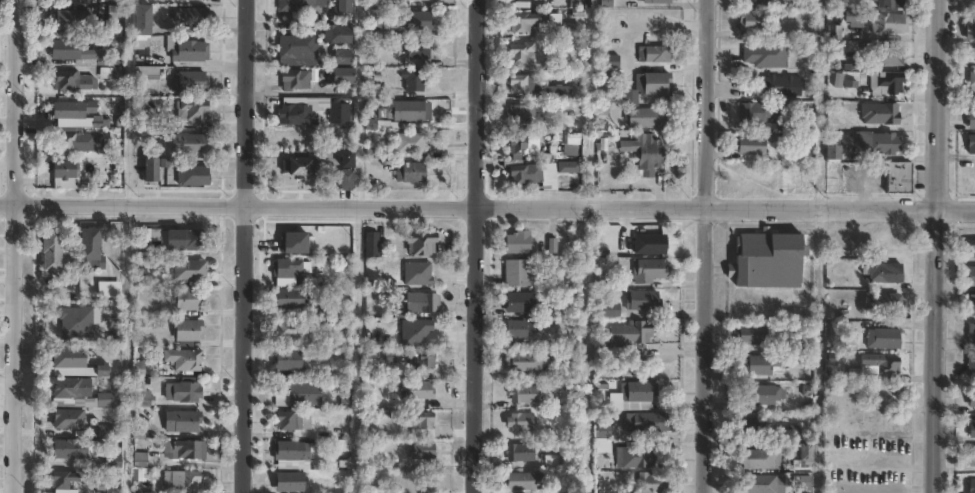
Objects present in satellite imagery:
building: (198, 0)
building: (419, 0)
building: (81, 1)
building: (522, 1)
building: (658, 1)
building: (756, 2)
building: (890, 3)
building: (299, 4)
building: (345, 7)
building: (855, 17)
building: (115, 18)
building: (194, 18)
building: (141, 20)
building: (69, 21)
building: (418, 21)
building: (755, 21)
building: (523, 22)
building: (889, 24)
building: (571, 30)
building: (382, 31)
building: (970, 31)
building: (836, 32)
building: (336, 34)
building: (114, 44)
building: (418, 50)
building: (189, 51)
building: (297, 51)
building: (523, 53)
building: (76, 54)
building: (654, 54)
building: (767, 54)
building: (890, 56)
building: (342, 57)
building: (613, 61)
building: (145, 72)
building: (110, 73)
building: (343, 77)
building: (294, 79)
building: (972, 79)
building: (415, 80)
building: (73, 81)
building: (189, 82)
building: (524, 84)
building: (883, 85)
building: (783, 86)
building: (606, 90)
building: (557, 92)
road: (128, 100)
building: (631, 104)
road: (821, 104)
building: (73, 110)
building: (192, 111)
building: (405, 111)
building: (757, 113)
building: (295, 114)
building: (519, 114)
building: (881, 114)
building: (972, 120)
building: (834, 122)
building: (67, 142)
building: (568, 142)
building: (410, 143)
building: (879, 143)
building: (189, 144)
building: (971, 144)
building: (524, 146)
building: (751, 146)
building: (645, 153)
building: (834, 154)
building: (346, 159)
building: (300, 167)
building: (569, 167)
building: (150, 171)
building: (410, 173)
building: (526, 174)
building: (65, 175)
building: (192, 176)
building: (794, 178)
building: (899, 178)
building: (345, 180)
road: (487, 205)
building: (831, 237)
building: (182, 241)
building: (518, 241)
building: (420, 242)
building: (371, 243)
building: (551, 243)
building: (885, 243)
road: (12, 246)
road: (246, 246)
road: (479, 246)
road: (703, 246)
road: (936, 246)
building: (89, 248)
building: (971, 248)
building: (51, 250)
building: (768, 259)
building: (287, 266)
building: (649, 269)
building: (189, 271)
building: (517, 271)
building: (417, 272)
building: (884, 272)
building: (971, 277)
building: (69, 291)
building: (290, 297)
building: (187, 299)
building: (643, 300)
building: (884, 301)
building: (522, 302)
building: (416, 303)
building: (971, 306)
building: (609, 309)
building: (75, 321)
building: (287, 328)
building: (516, 328)
building: (186, 330)
building: (418, 333)
building: (971, 333)
building: (752, 338)
building: (884, 338)
building: (629, 339)
road: (356, 348)
road: (588, 350)
road: (818, 350)
building: (183, 359)
building: (288, 359)
building: (424, 361)
building: (523, 361)
building: (73, 362)
building: (773, 362)
building: (971, 364)
building: (889, 365)
building: (70, 387)
building: (419, 390)
building: (182, 391)
building: (524, 393)
building: (300, 394)
building: (638, 394)
building: (760, 396)
building: (971, 397)
building: (143, 398)
building: (104, 399)
building: (381, 414)
building: (67, 418)
building: (182, 420)
building: (288, 420)
building: (520, 420)
building: (646, 422)
building: (419, 424)
building: (751, 424)
building: (971, 428)
building: (602, 437)
building: (69, 448)
building: (183, 449)
building: (421, 449)
building: (520, 452)
building: (292, 453)
building: (806, 454)
building: (972, 456)
building: (638, 457)
building: (760, 458)
building: (560, 459)
building: (112, 461)
building: (180, 479)
building: (64, 481)
building: (289, 481)
building: (522, 481)
building: (651, 482)
building: (764, 483)
building: (971, 485)

